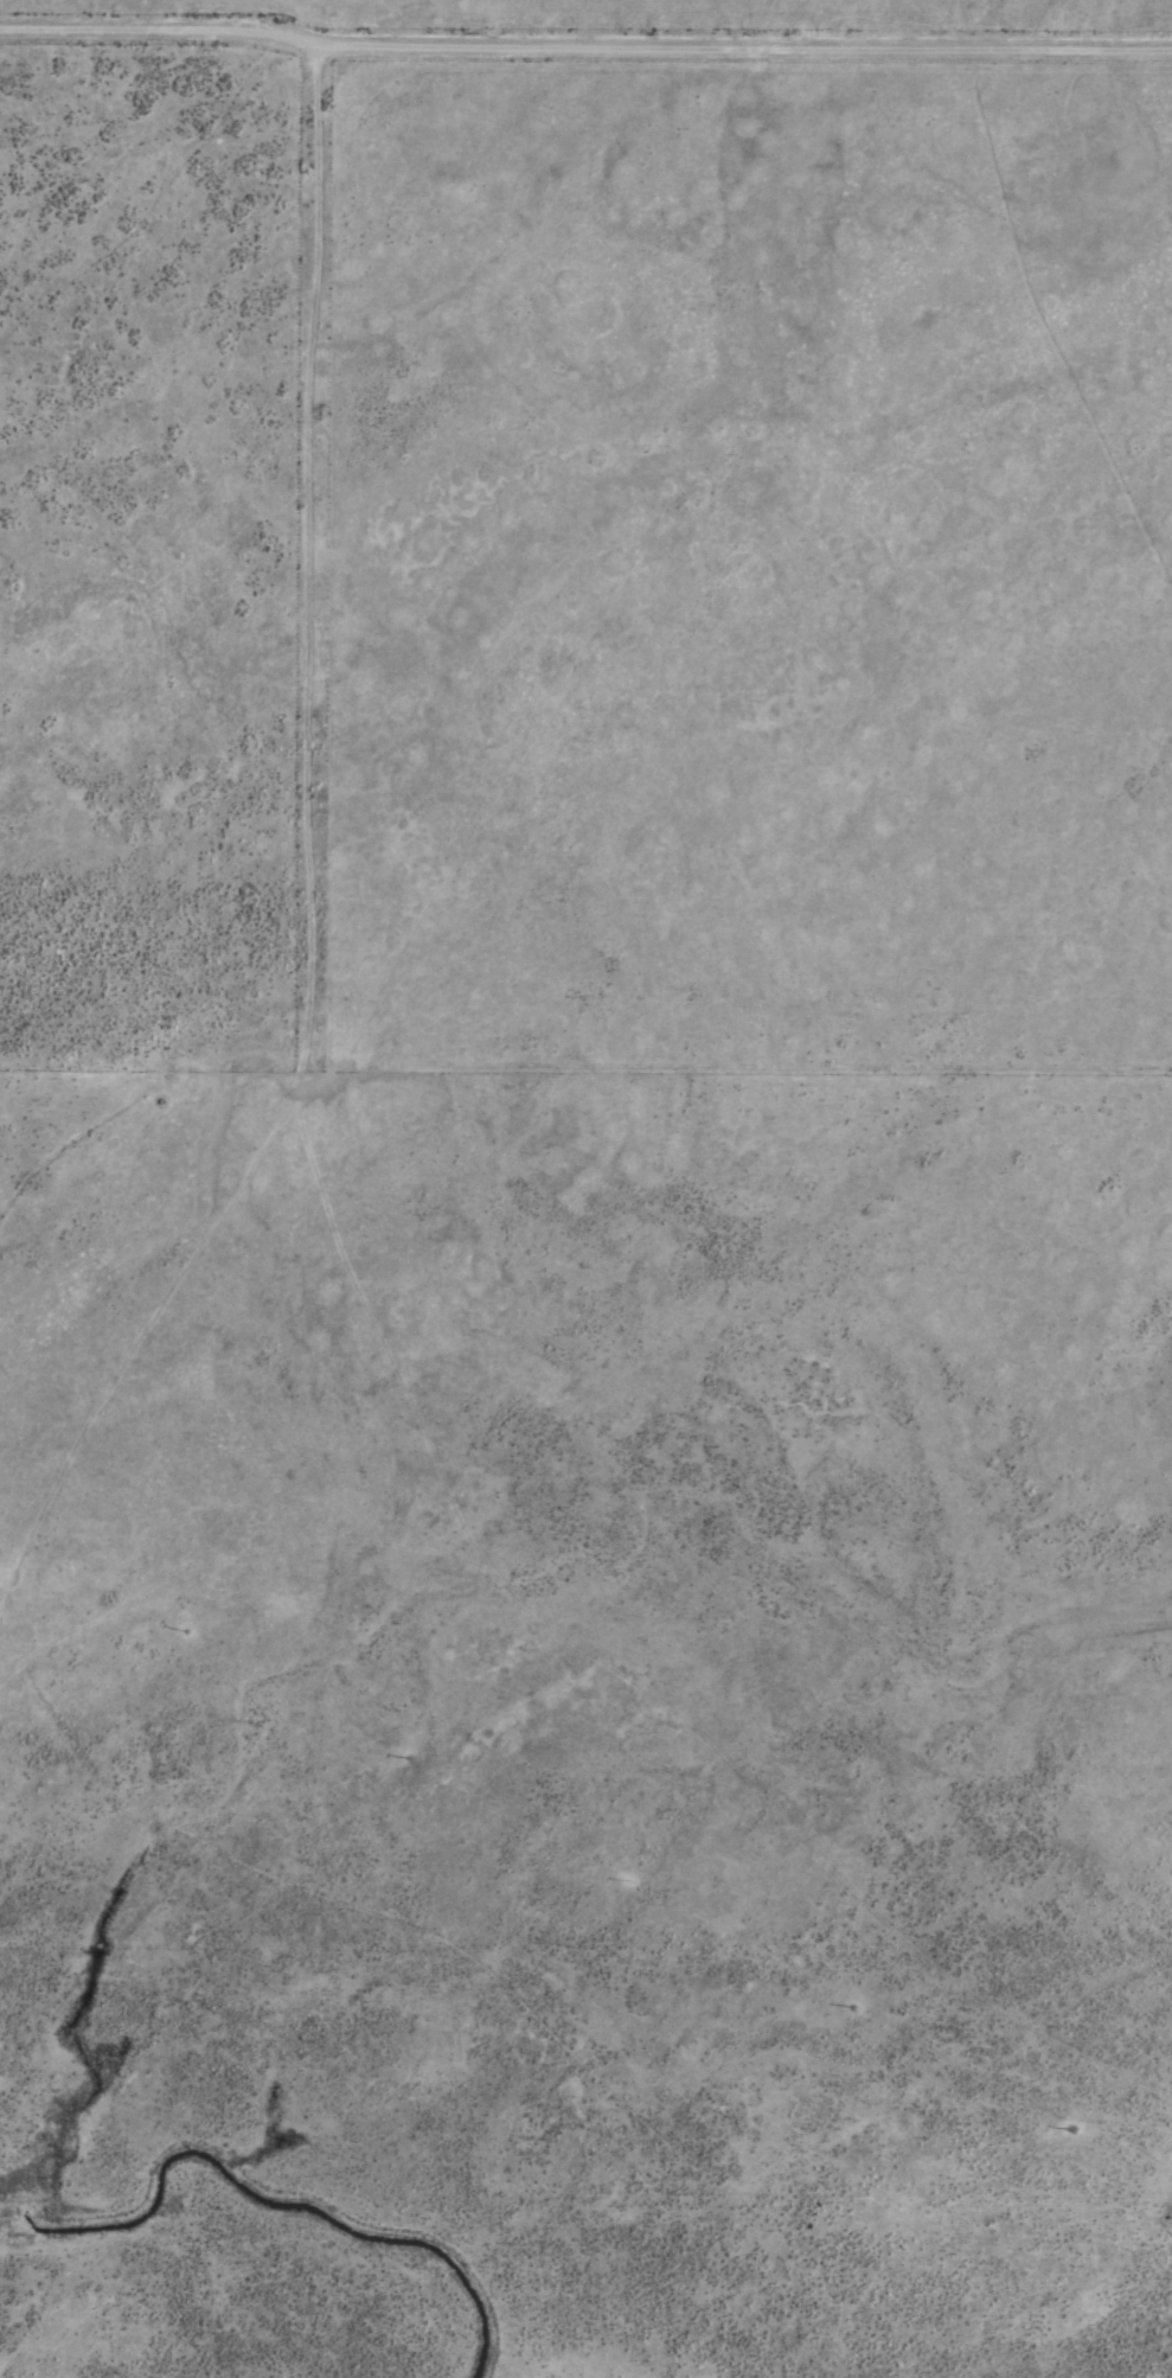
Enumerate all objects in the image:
road: (585, 31)
crop: (585, 1189)

